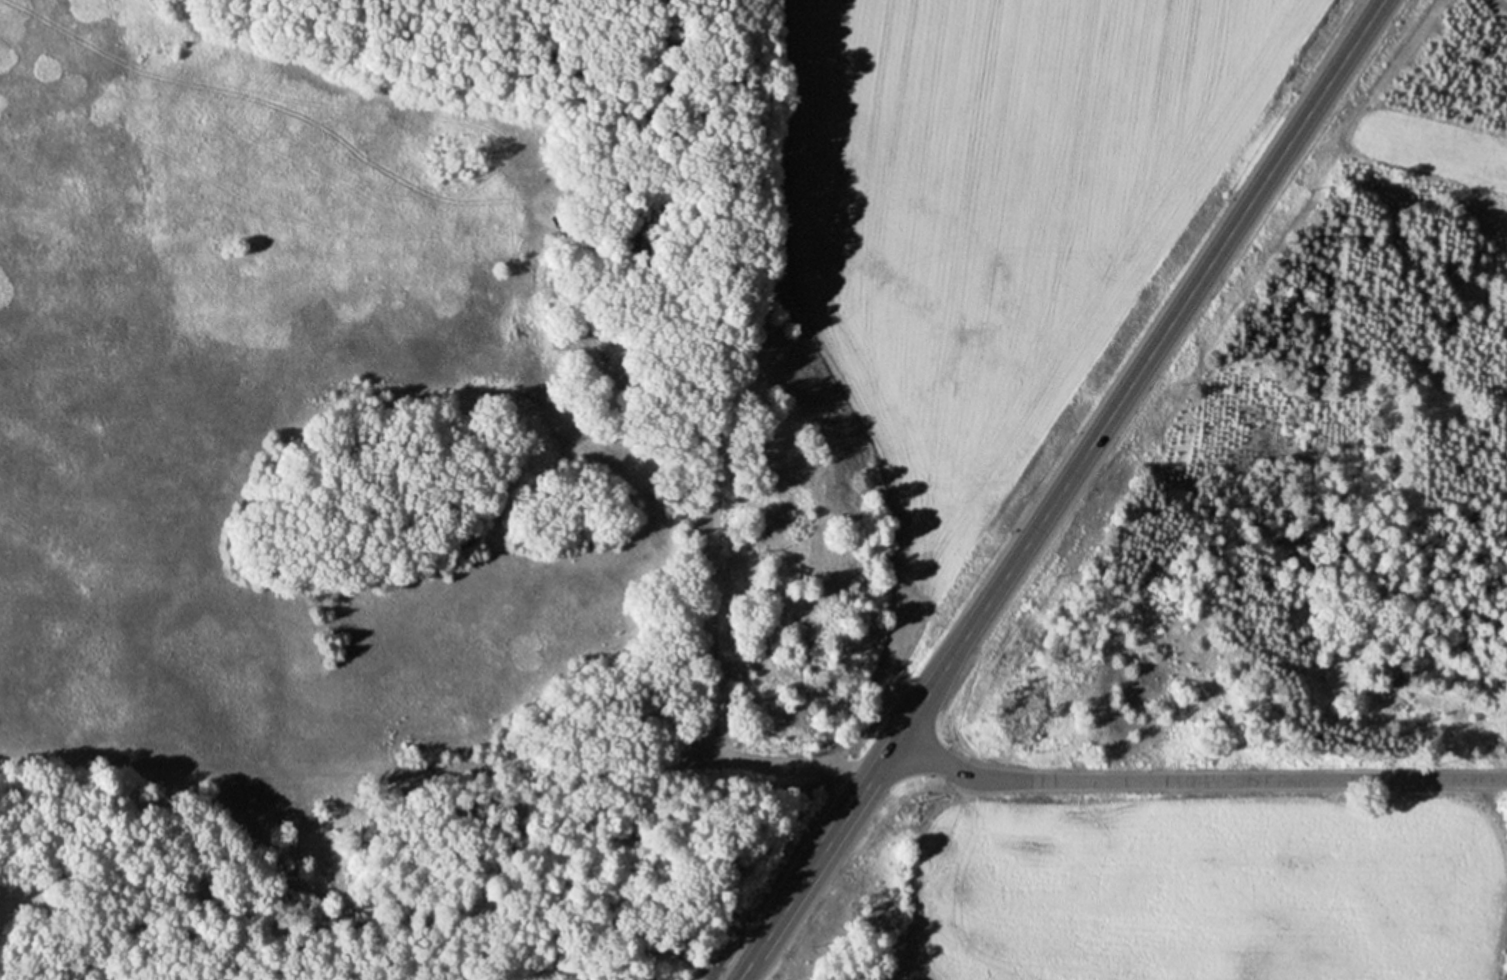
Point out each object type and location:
road: (1061, 490)
road: (1189, 779)

